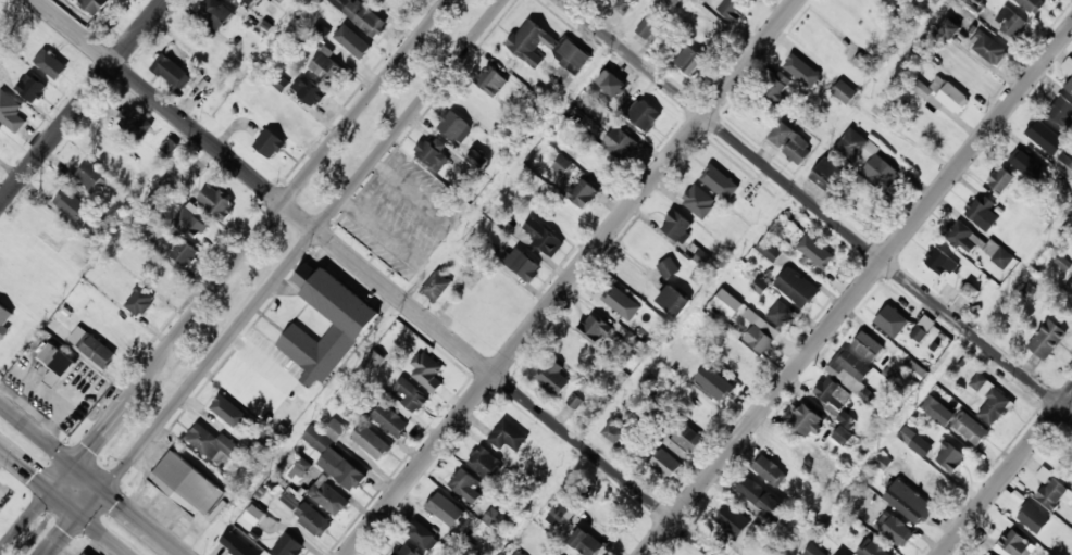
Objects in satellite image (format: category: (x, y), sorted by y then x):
building: (677, 1)
building: (241, 2)
building: (95, 5)
building: (972, 5)
building: (1032, 5)
building: (625, 7)
building: (730, 9)
building: (214, 13)
building: (361, 15)
building: (1011, 23)
building: (650, 24)
building: (951, 27)
building: (710, 33)
building: (531, 43)
building: (351, 45)
building: (989, 49)
building: (573, 54)
building: (690, 61)
building: (50, 63)
building: (1068, 65)
building: (327, 66)
building: (172, 71)
building: (811, 71)
building: (968, 71)
building: (491, 80)
building: (611, 84)
building: (32, 87)
building: (778, 87)
building: (1070, 87)
building: (310, 89)
building: (846, 91)
building: (945, 94)
road: (83, 101)
building: (277, 108)
building: (11, 112)
building: (1062, 112)
building: (644, 114)
building: (135, 121)
building: (927, 124)
building: (454, 125)
building: (1046, 133)
building: (270, 142)
building: (622, 142)
building: (788, 143)
building: (852, 143)
building: (170, 146)
building: (111, 153)
building: (431, 153)
building: (478, 160)
building: (603, 162)
building: (562, 165)
building: (1029, 166)
road: (511, 172)
building: (881, 172)
building: (827, 174)
building: (718, 175)
building: (92, 176)
building: (1001, 178)
building: (583, 192)
building: (215, 201)
building: (698, 201)
building: (71, 204)
road: (817, 207)
building: (980, 207)
building: (190, 223)
building: (676, 225)
building: (94, 228)
building: (731, 229)
building: (541, 236)
building: (961, 237)
building: (776, 239)
building: (25, 248)
building: (182, 249)
building: (814, 251)
building: (697, 254)
building: (1002, 258)
building: (942, 263)
building: (523, 264)
building: (669, 267)
building: (4, 274)
road: (224, 276)
road: (275, 277)
road: (377, 277)
road: (573, 277)
building: (436, 286)
building: (797, 287)
building: (1071, 288)
road: (858, 291)
building: (969, 291)
building: (674, 300)
building: (138, 301)
building: (622, 303)
building: (726, 303)
building: (780, 313)
building: (5, 317)
building: (894, 323)
building: (120, 325)
building: (488, 325)
building: (595, 328)
building: (924, 328)
building: (346, 332)
building: (79, 336)
building: (759, 338)
building: (1048, 338)
building: (869, 345)
building: (98, 351)
building: (575, 352)
building: (740, 362)
building: (58, 363)
building: (852, 365)
building: (426, 370)
building: (553, 377)
building: (718, 389)
building: (834, 392)
building: (411, 394)
building: (990, 398)
building: (574, 401)
building: (224, 409)
building: (937, 411)
building: (390, 419)
building: (807, 419)
building: (843, 428)
building: (970, 428)
building: (614, 432)
building: (907, 434)
building: (508, 437)
building: (687, 437)
building: (372, 441)
building: (213, 443)
building: (335, 455)
building: (950, 455)
building: (486, 463)
traffic signals: (72, 464)
building: (665, 464)
building: (299, 469)
building: (824, 469)
building: (770, 470)
road: (1007, 474)
road: (91, 480)
building: (935, 481)
building: (186, 484)
building: (466, 485)
traffic signals: (51, 490)
traffic signals: (104, 490)
building: (752, 490)
building: (1052, 490)
building: (266, 492)
building: (291, 497)
road: (64, 501)
building: (909, 502)
building: (322, 507)
building: (445, 509)
building: (562, 513)
building: (254, 515)
traffic signals: (83, 516)
building: (606, 517)
building: (494, 518)
building: (1033, 518)
building: (732, 519)
road: (40, 527)
building: (897, 529)
building: (423, 534)
building: (587, 542)
building: (1012, 543)
building: (237, 544)
building: (288, 545)
building: (872, 547)
building: (406, 550)
building: (814, 551)
building: (551, 553)
building: (988, 553)
building: (88, 554)
building: (842, 554)

